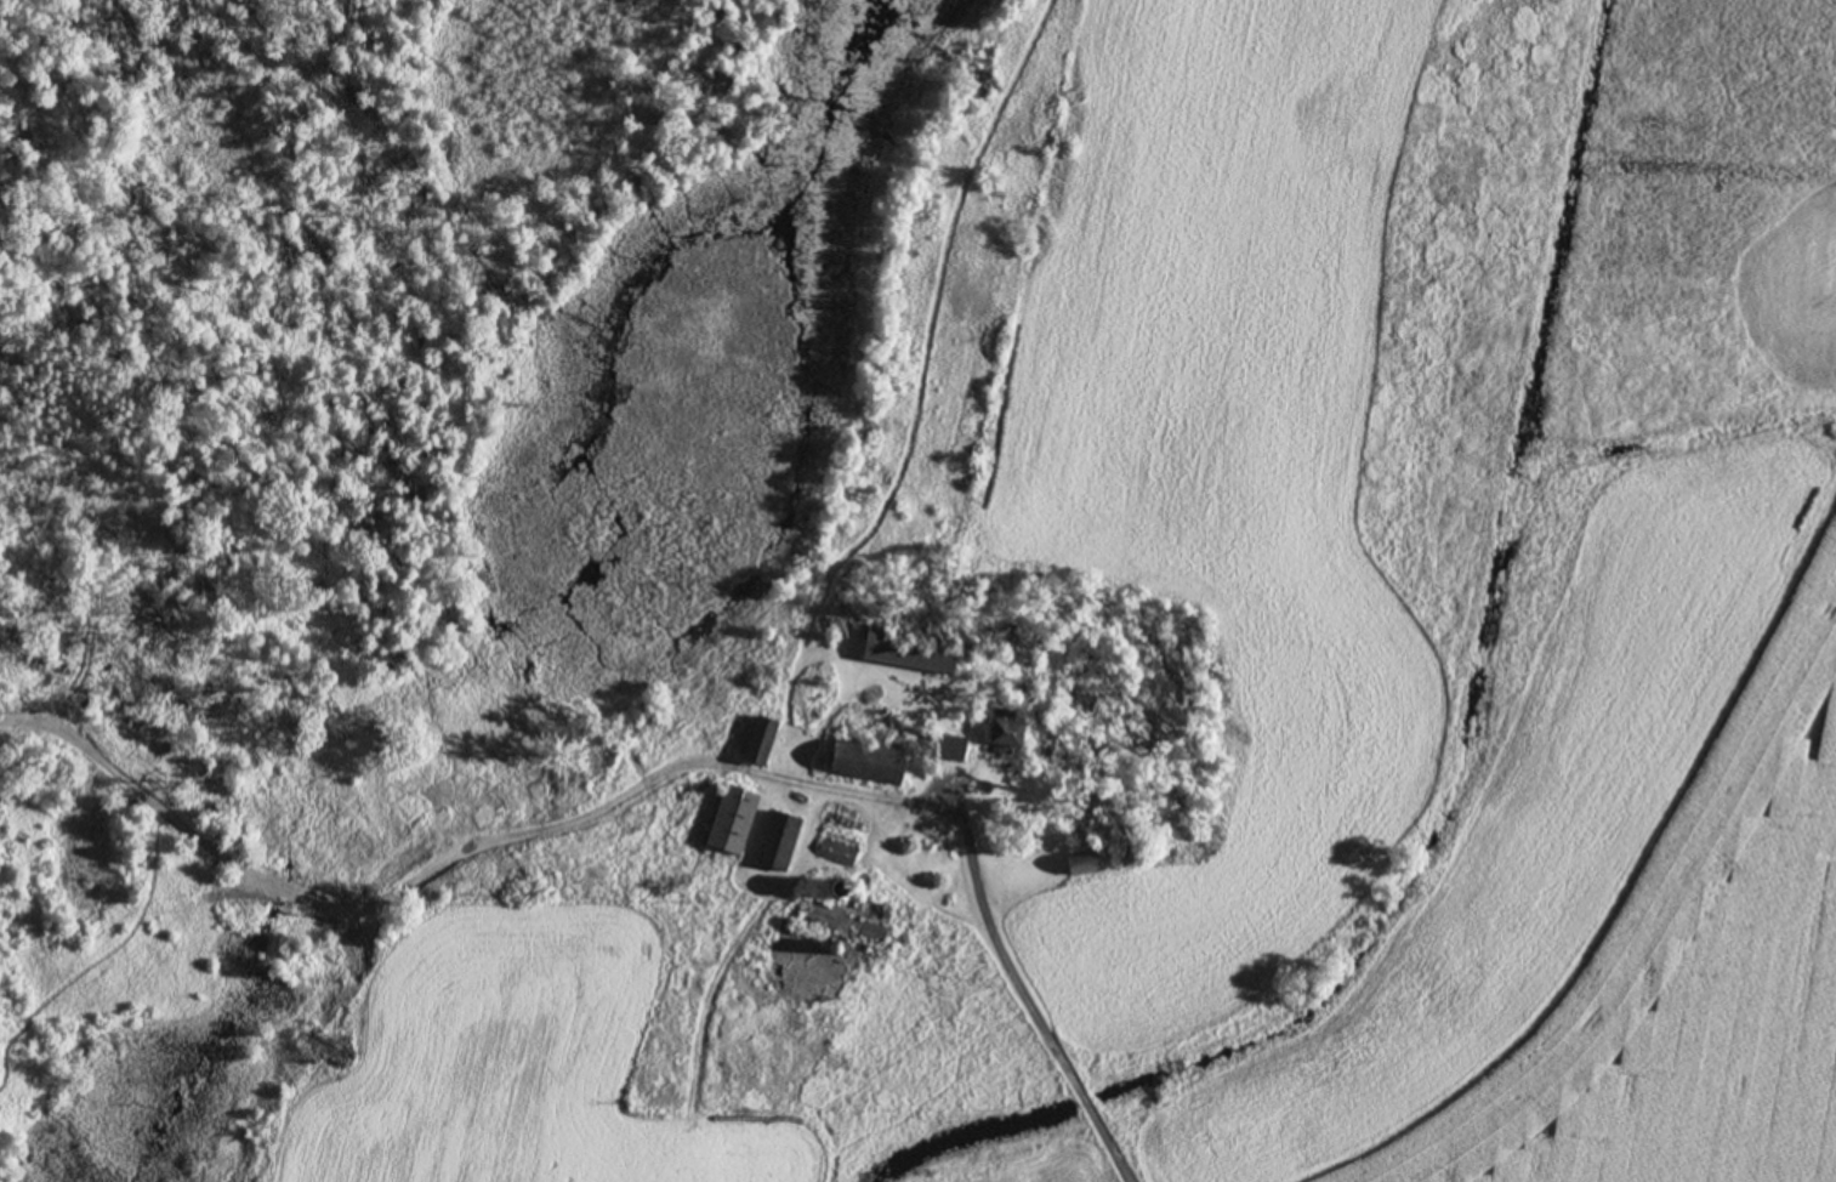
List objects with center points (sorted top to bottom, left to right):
building: (905, 649)
building: (1001, 728)
building: (754, 743)
building: (947, 748)
building: (859, 762)
building: (729, 818)
building: (774, 842)
building: (836, 843)
building: (1078, 864)
building: (837, 913)
road: (1115, 1049)

